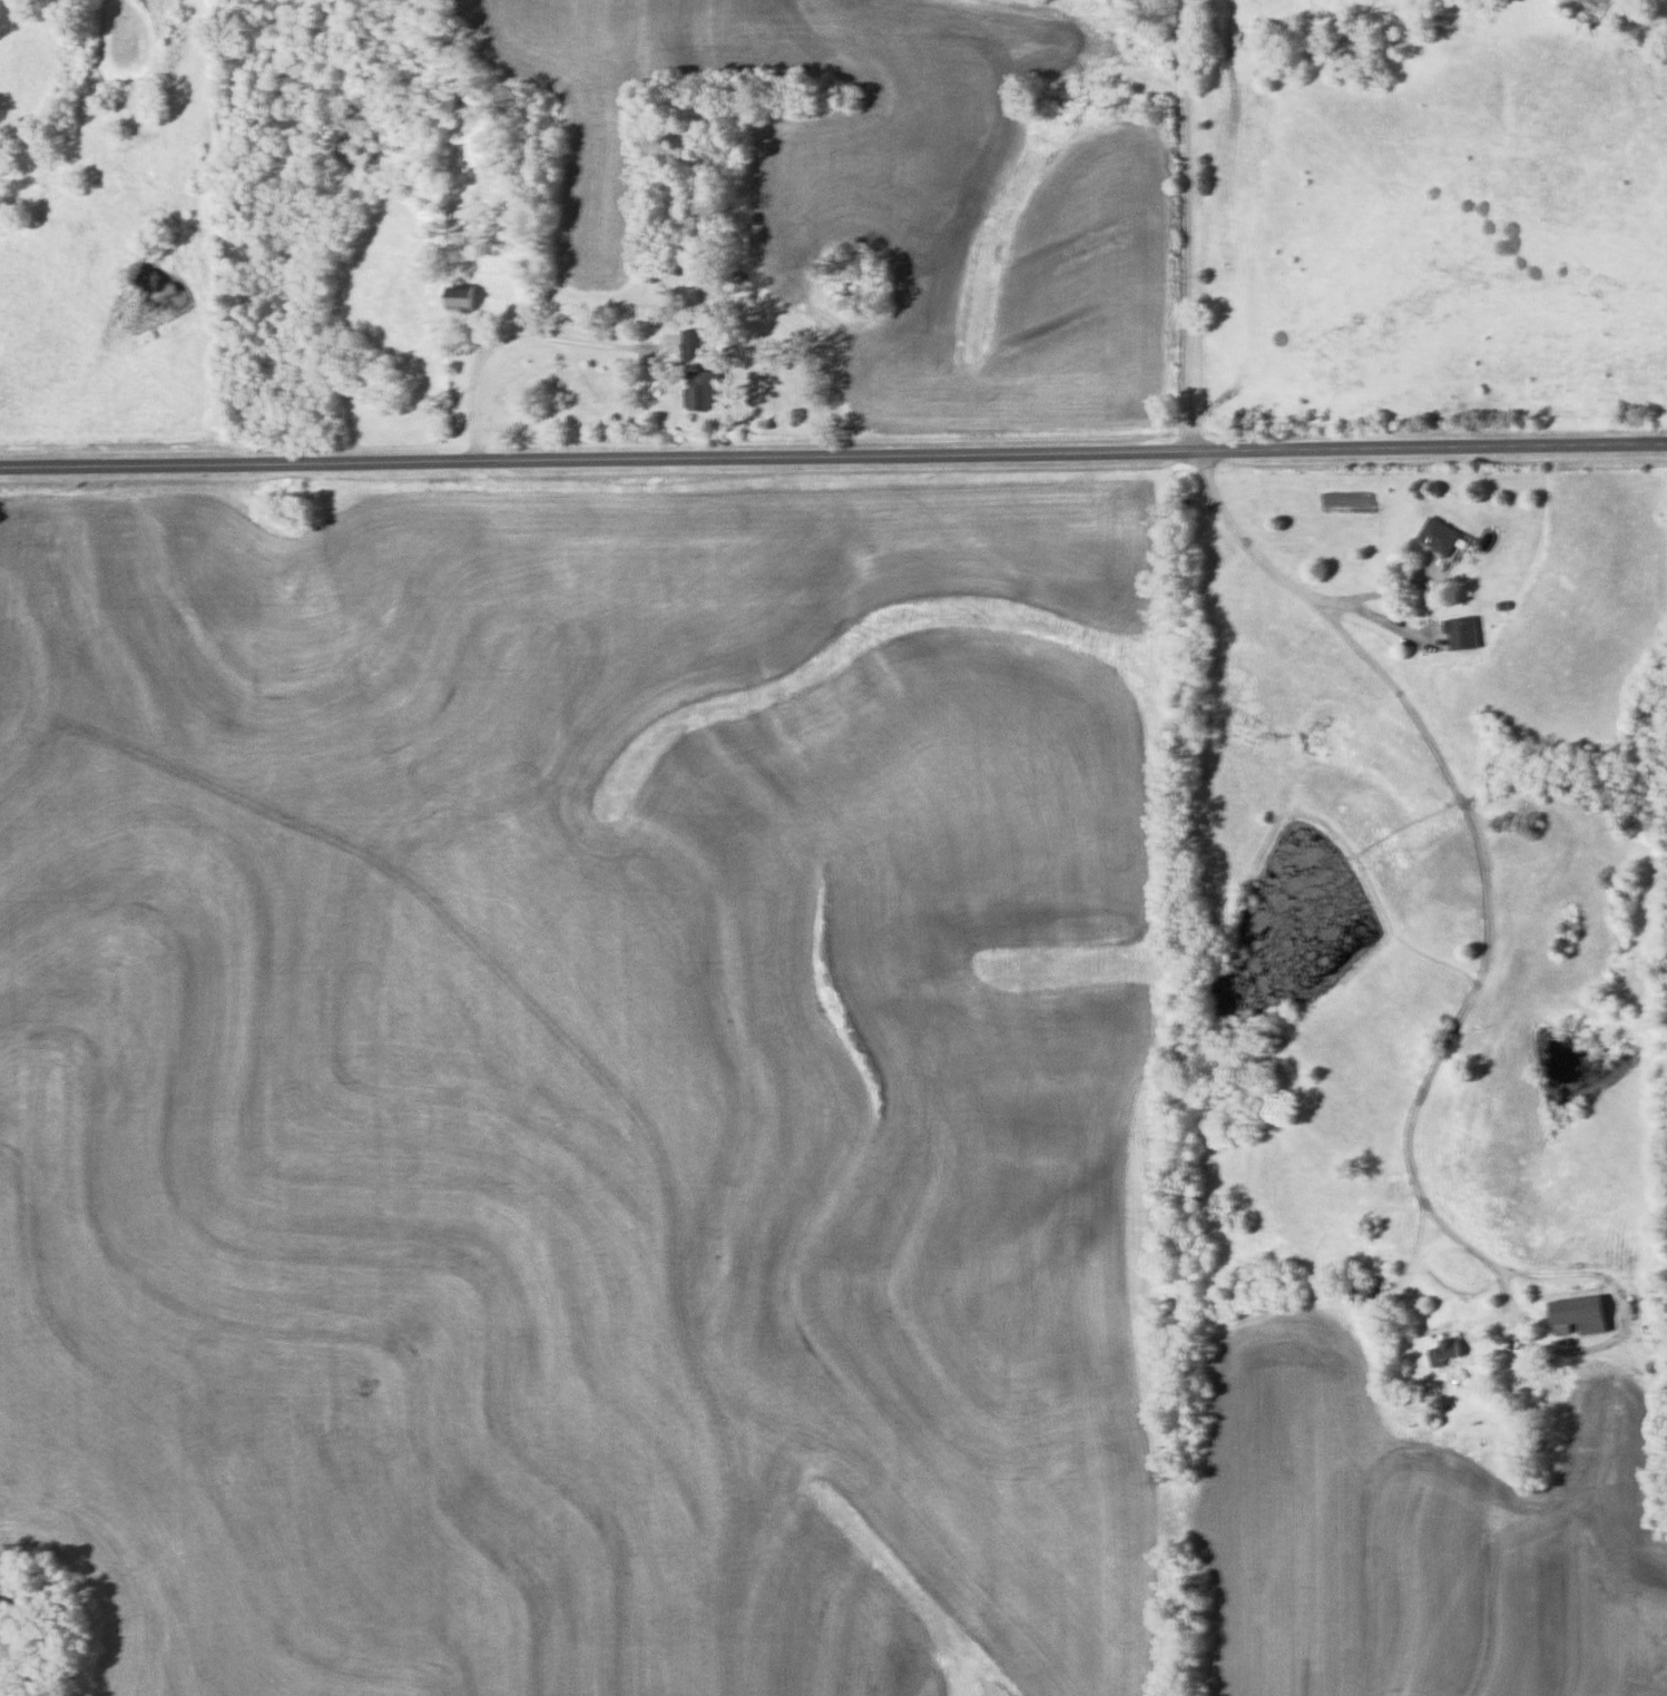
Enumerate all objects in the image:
road: (1190, 224)
building: (685, 296)
building: (462, 298)
road: (528, 339)
building: (693, 345)
building: (705, 392)
road: (833, 452)
building: (1441, 537)
road: (1382, 589)
building: (1463, 635)
road: (1485, 842)
building: (1364, 1296)
building: (1580, 1316)
road: (1513, 1325)
building: (1445, 1352)

